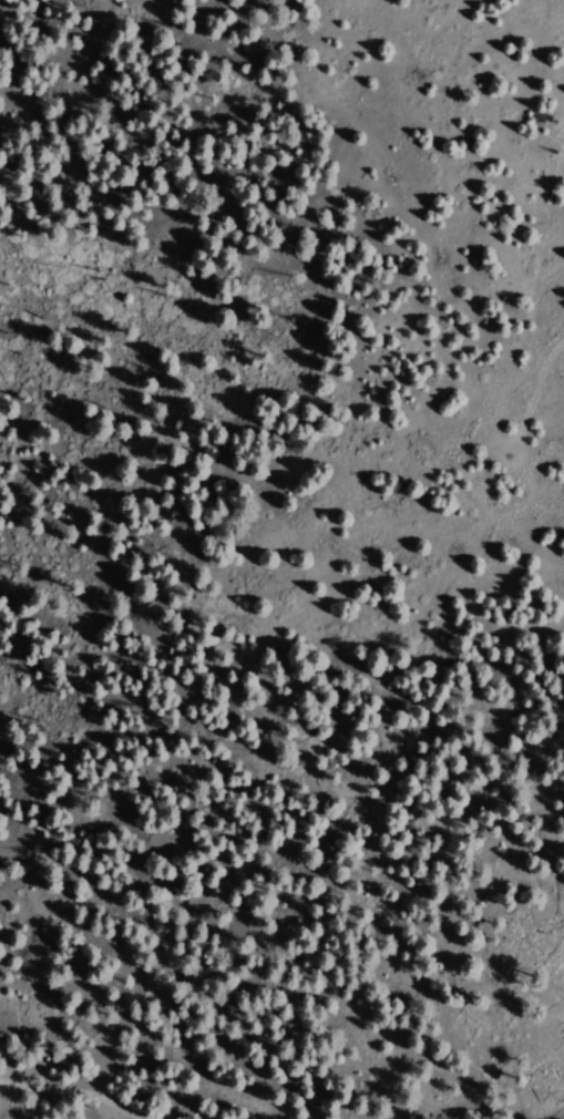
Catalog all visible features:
road: (76, 1087)

